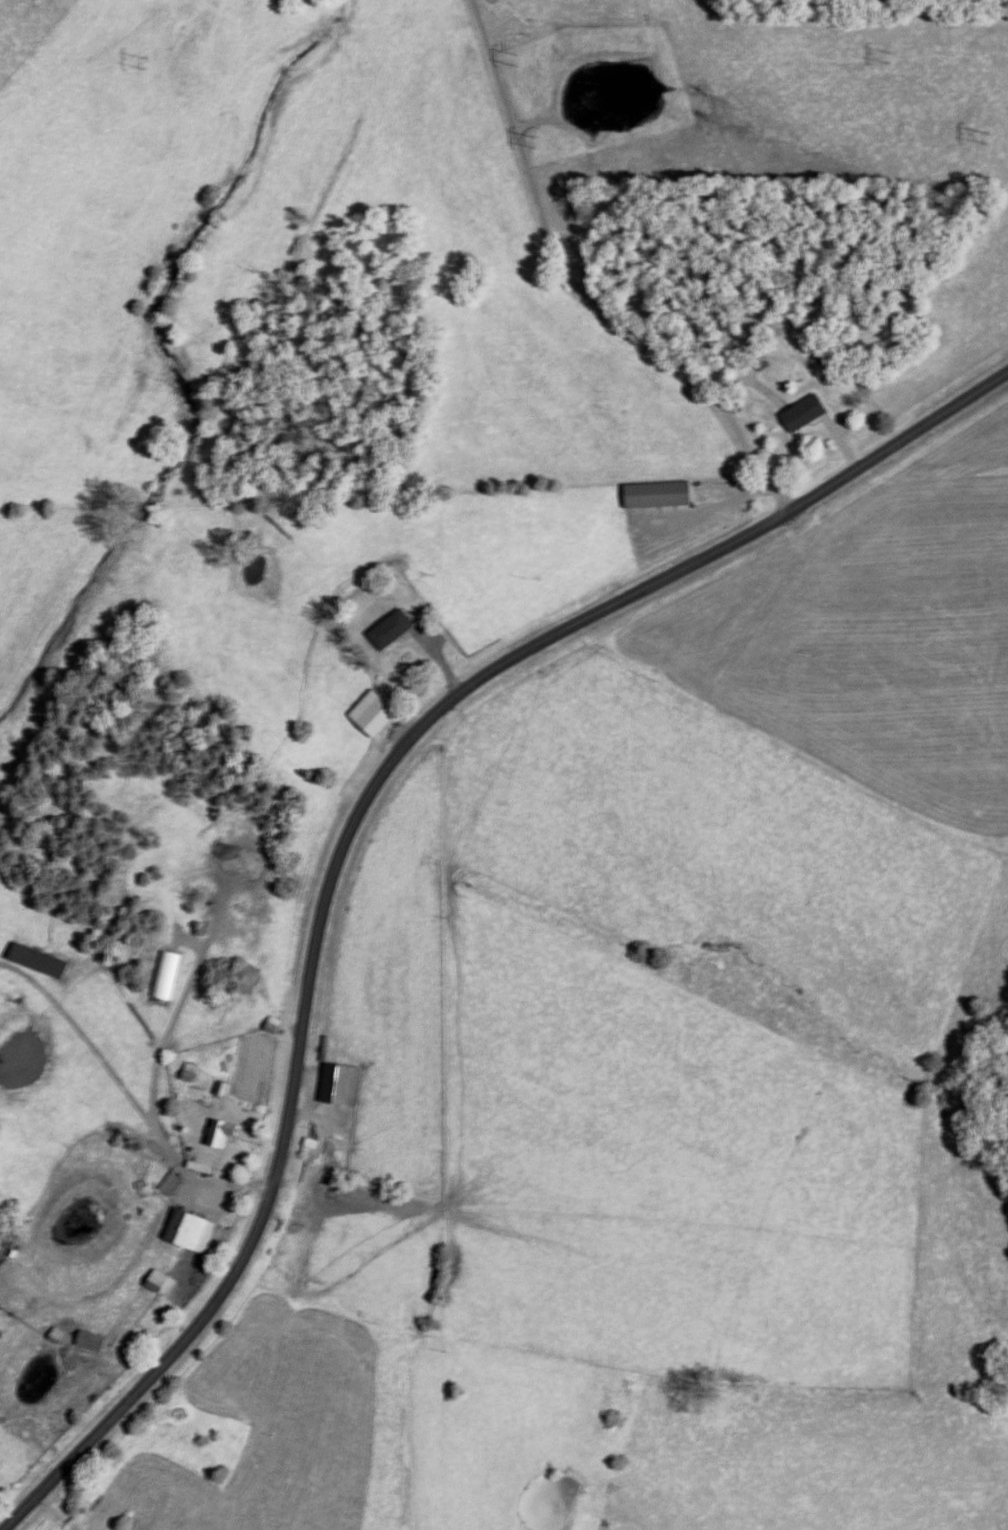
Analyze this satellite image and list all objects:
road: (585, 291)
building: (807, 413)
building: (661, 494)
building: (392, 629)
building: (375, 713)
road: (354, 834)
building: (39, 960)
building: (165, 975)
building: (344, 1084)
building: (225, 1133)
building: (312, 1145)
building: (172, 1184)
building: (192, 1230)
building: (163, 1283)
building: (58, 1335)
building: (93, 1341)
road: (57, 1510)

